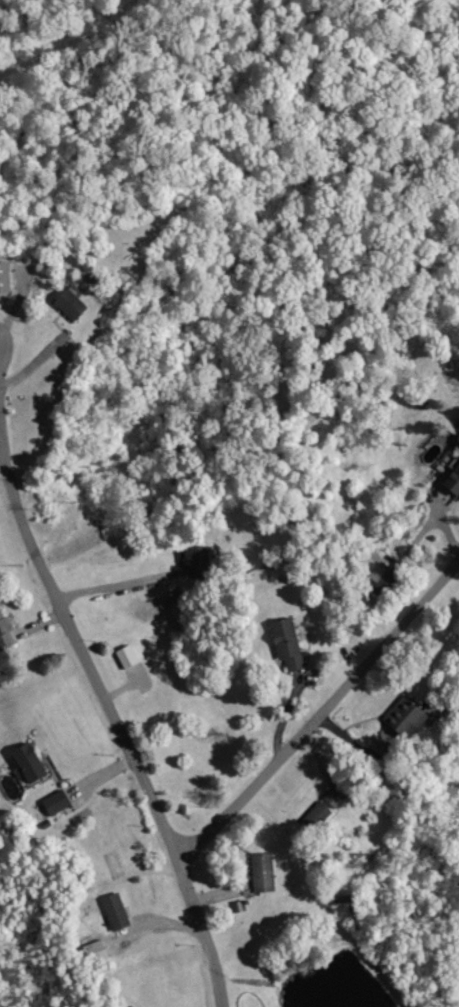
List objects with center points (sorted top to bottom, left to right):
building: (6, 277)
building: (76, 304)
building: (455, 483)
building: (203, 562)
building: (384, 580)
road: (116, 586)
building: (7, 631)
building: (291, 643)
road: (319, 709)
building: (410, 717)
road: (111, 720)
building: (34, 763)
building: (60, 802)
building: (329, 807)
building: (119, 911)
road: (155, 923)

